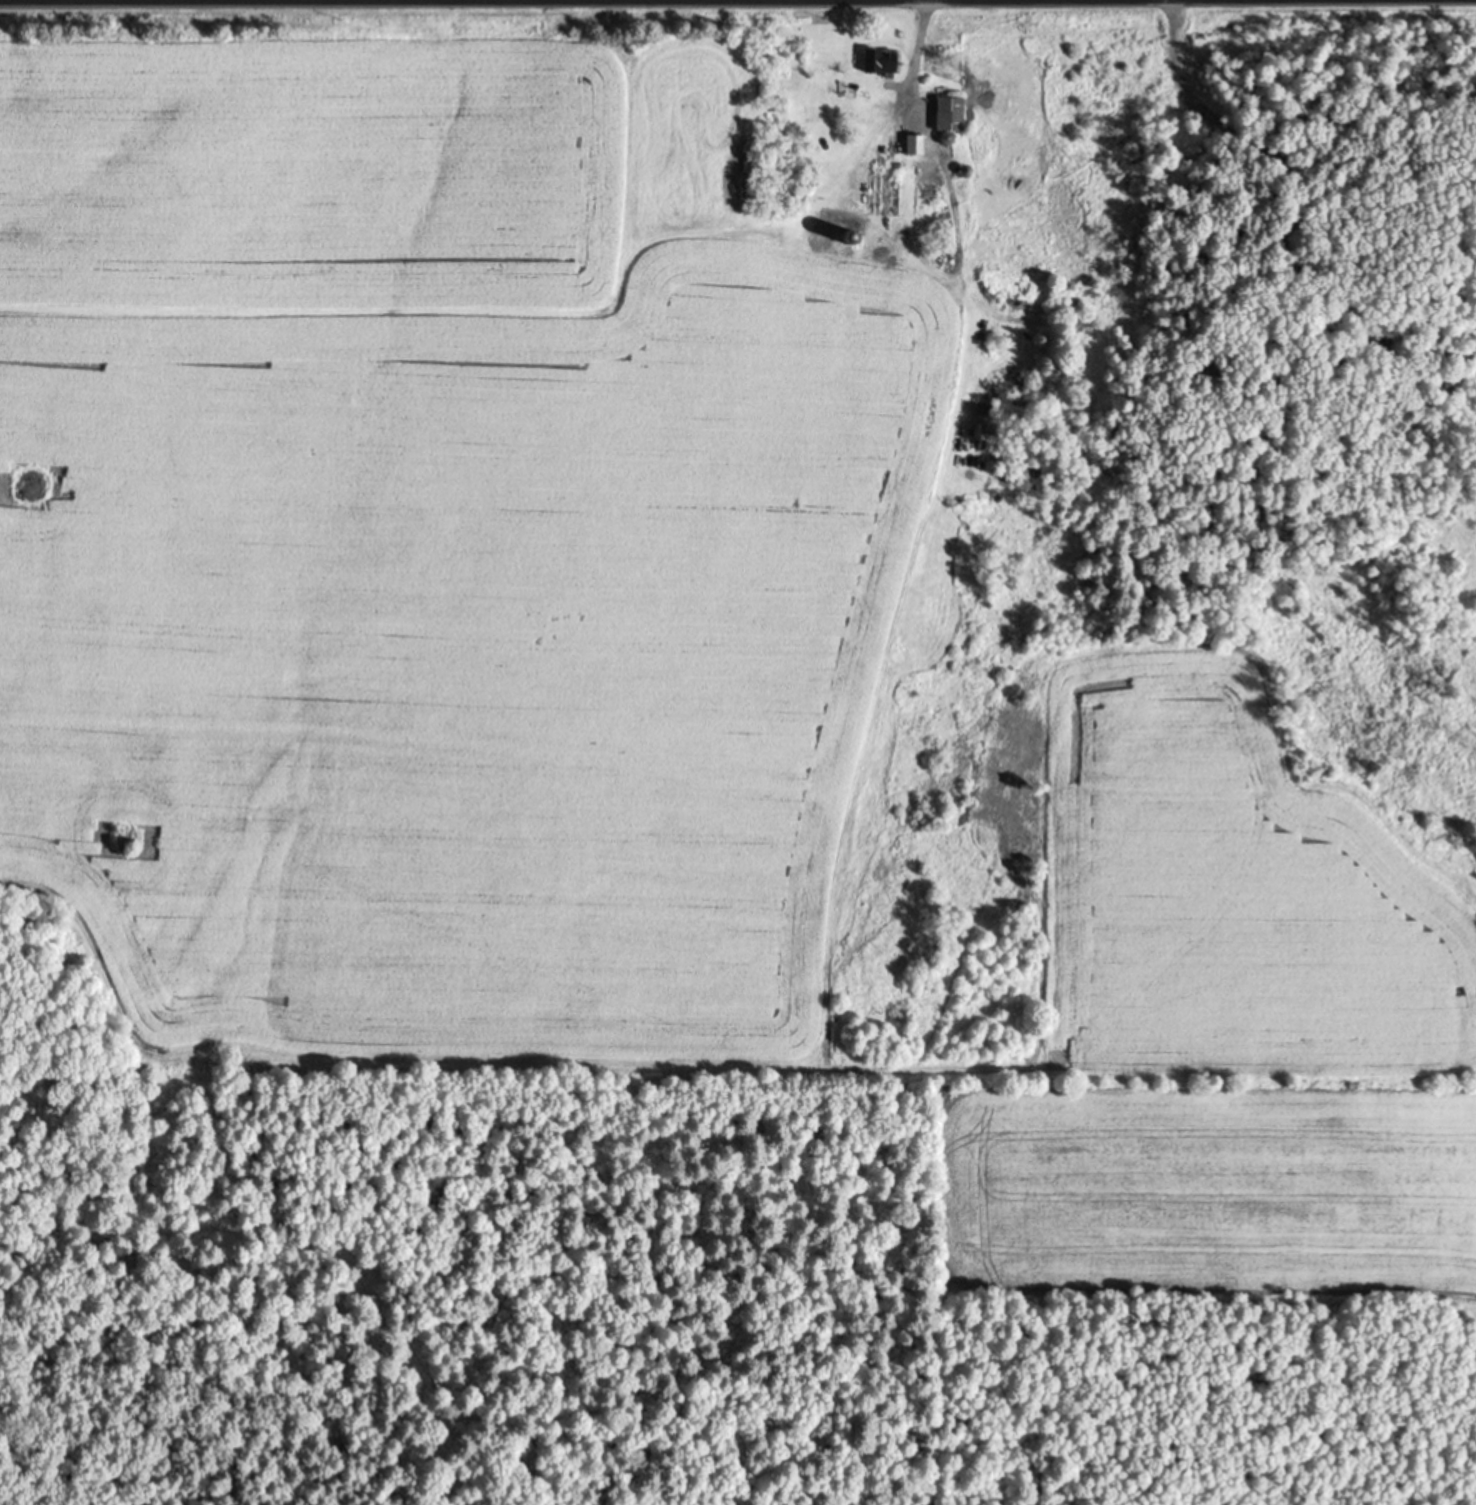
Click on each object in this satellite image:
building: (878, 62)
building: (945, 116)
building: (908, 146)

